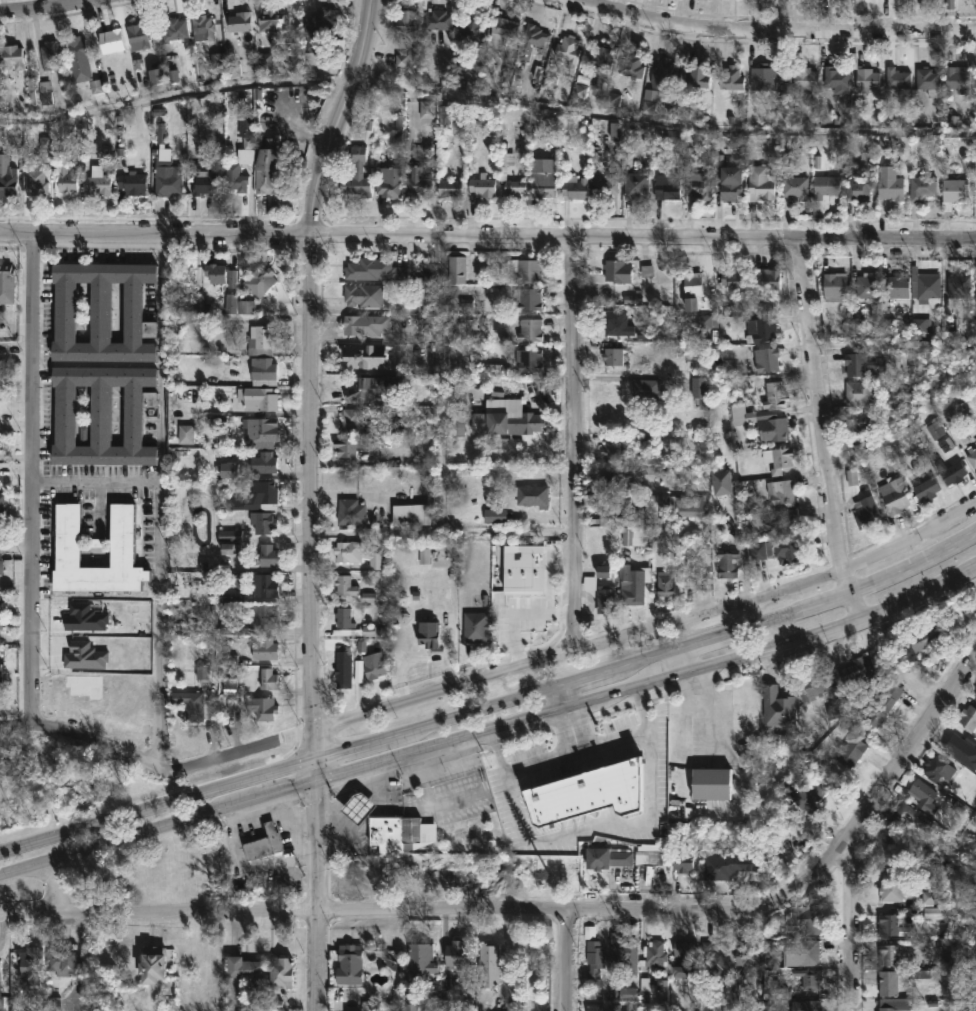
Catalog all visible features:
building: (791, 1)
building: (949, 3)
road: (48, 9)
building: (438, 18)
building: (406, 20)
building: (239, 21)
building: (271, 21)
building: (200, 26)
building: (318, 26)
building: (472, 26)
building: (173, 29)
building: (501, 29)
road: (770, 34)
building: (137, 35)
building: (110, 39)
building: (532, 40)
building: (75, 48)
building: (567, 50)
building: (11, 55)
building: (49, 55)
building: (599, 57)
building: (216, 60)
building: (632, 63)
building: (664, 75)
building: (697, 75)
building: (731, 77)
building: (805, 77)
building: (867, 77)
building: (897, 77)
building: (958, 77)
building: (836, 79)
building: (929, 80)
building: (768, 83)
building: (43, 94)
road: (486, 101)
road: (343, 119)
building: (266, 165)
building: (165, 167)
building: (231, 169)
building: (501, 171)
building: (356, 173)
building: (65, 176)
building: (6, 177)
building: (728, 178)
building: (541, 180)
building: (34, 181)
building: (97, 181)
building: (205, 181)
building: (388, 181)
building: (129, 183)
building: (760, 183)
building: (700, 184)
building: (417, 185)
building: (482, 185)
building: (635, 186)
building: (666, 186)
building: (795, 186)
building: (448, 187)
building: (573, 187)
building: (890, 187)
building: (921, 187)
building: (858, 188)
building: (607, 189)
building: (953, 192)
building: (824, 193)
road: (644, 237)
road: (155, 238)
building: (373, 269)
building: (456, 269)
building: (618, 270)
building: (179, 271)
building: (215, 271)
building: (525, 271)
building: (768, 279)
building: (262, 280)
building: (734, 282)
building: (7, 284)
building: (925, 284)
building: (867, 285)
building: (896, 285)
building: (957, 285)
building: (835, 287)
building: (691, 288)
building: (362, 295)
building: (529, 298)
building: (105, 312)
building: (618, 321)
building: (364, 325)
building: (532, 329)
building: (760, 330)
building: (262, 340)
building: (363, 356)
building: (612, 356)
building: (766, 358)
building: (529, 360)
building: (862, 364)
building: (263, 370)
building: (365, 388)
building: (699, 390)
building: (857, 392)
building: (654, 394)
building: (775, 395)
building: (186, 396)
building: (256, 398)
building: (902, 399)
building: (105, 415)
building: (508, 416)
building: (861, 420)
building: (350, 421)
building: (770, 425)
road: (823, 431)
building: (260, 432)
building: (187, 436)
road: (574, 442)
building: (347, 447)
building: (614, 451)
building: (971, 455)
building: (781, 458)
building: (265, 463)
building: (951, 471)
building: (607, 478)
road: (97, 479)
road: (33, 480)
building: (721, 482)
building: (927, 488)
building: (780, 491)
building: (528, 495)
building: (894, 495)
building: (257, 497)
road: (99, 505)
road: (163, 505)
building: (679, 505)
road: (311, 510)
building: (352, 512)
building: (495, 514)
building: (867, 514)
building: (410, 515)
building: (787, 522)
building: (264, 523)
building: (70, 537)
road: (743, 546)
building: (779, 550)
building: (355, 554)
building: (269, 556)
building: (729, 563)
building: (2, 567)
road: (548, 567)
building: (606, 573)
building: (665, 583)
building: (632, 584)
building: (344, 585)
building: (269, 586)
building: (600, 596)
building: (1, 598)
road: (516, 612)
building: (264, 614)
building: (535, 616)
building: (344, 619)
building: (2, 625)
building: (235, 626)
building: (477, 626)
road: (649, 626)
building: (426, 632)
building: (923, 638)
building: (265, 647)
building: (226, 651)
road: (682, 663)
building: (373, 666)
building: (858, 669)
building: (1, 673)
building: (344, 674)
building: (270, 677)
building: (816, 684)
road: (650, 686)
building: (975, 697)
road: (562, 700)
building: (190, 703)
building: (883, 703)
building: (777, 705)
road: (494, 706)
building: (264, 707)
building: (968, 717)
road: (292, 729)
road: (572, 730)
building: (953, 743)
road: (574, 750)
building: (854, 751)
road: (136, 761)
building: (938, 767)
building: (715, 782)
building: (809, 793)
building: (587, 794)
building: (924, 794)
building: (361, 806)
building: (910, 816)
road: (158, 826)
road: (598, 828)
building: (387, 833)
building: (418, 833)
building: (266, 842)
building: (610, 856)
building: (649, 856)
road: (56, 883)
building: (891, 885)
road: (318, 896)
road: (546, 907)
building: (937, 911)
building: (804, 915)
road: (851, 920)
building: (888, 923)
building: (683, 948)
building: (622, 949)
building: (807, 952)
building: (888, 954)
building: (459, 955)
building: (655, 955)
building: (595, 957)
building: (716, 957)
building: (423, 958)
building: (62, 959)
road: (568, 959)
building: (747, 959)
building: (156, 963)
building: (351, 963)
building: (32, 964)
building: (490, 964)
building: (246, 968)
building: (282, 970)
building: (809, 978)
building: (888, 982)
building: (1, 987)
building: (652, 990)
building: (889, 1004)
building: (804, 1005)
building: (603, 1007)

